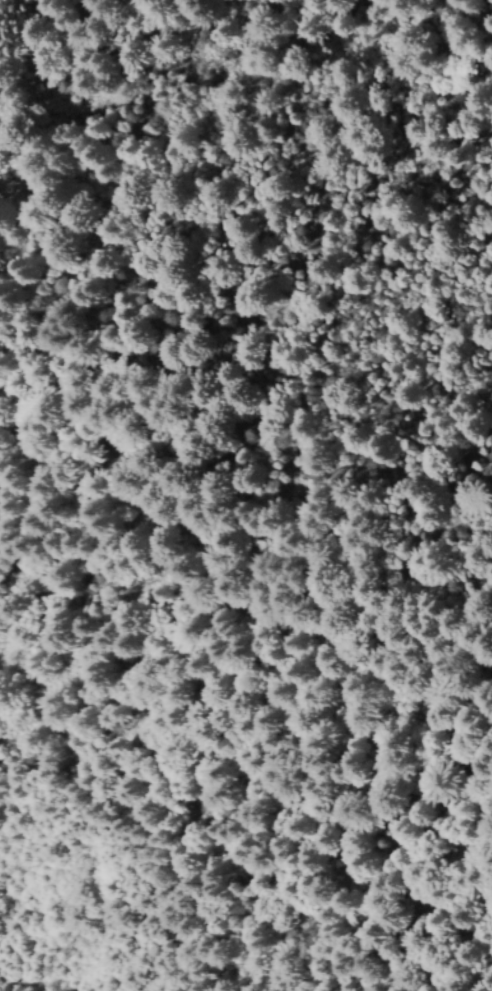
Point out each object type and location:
road: (233, 605)

